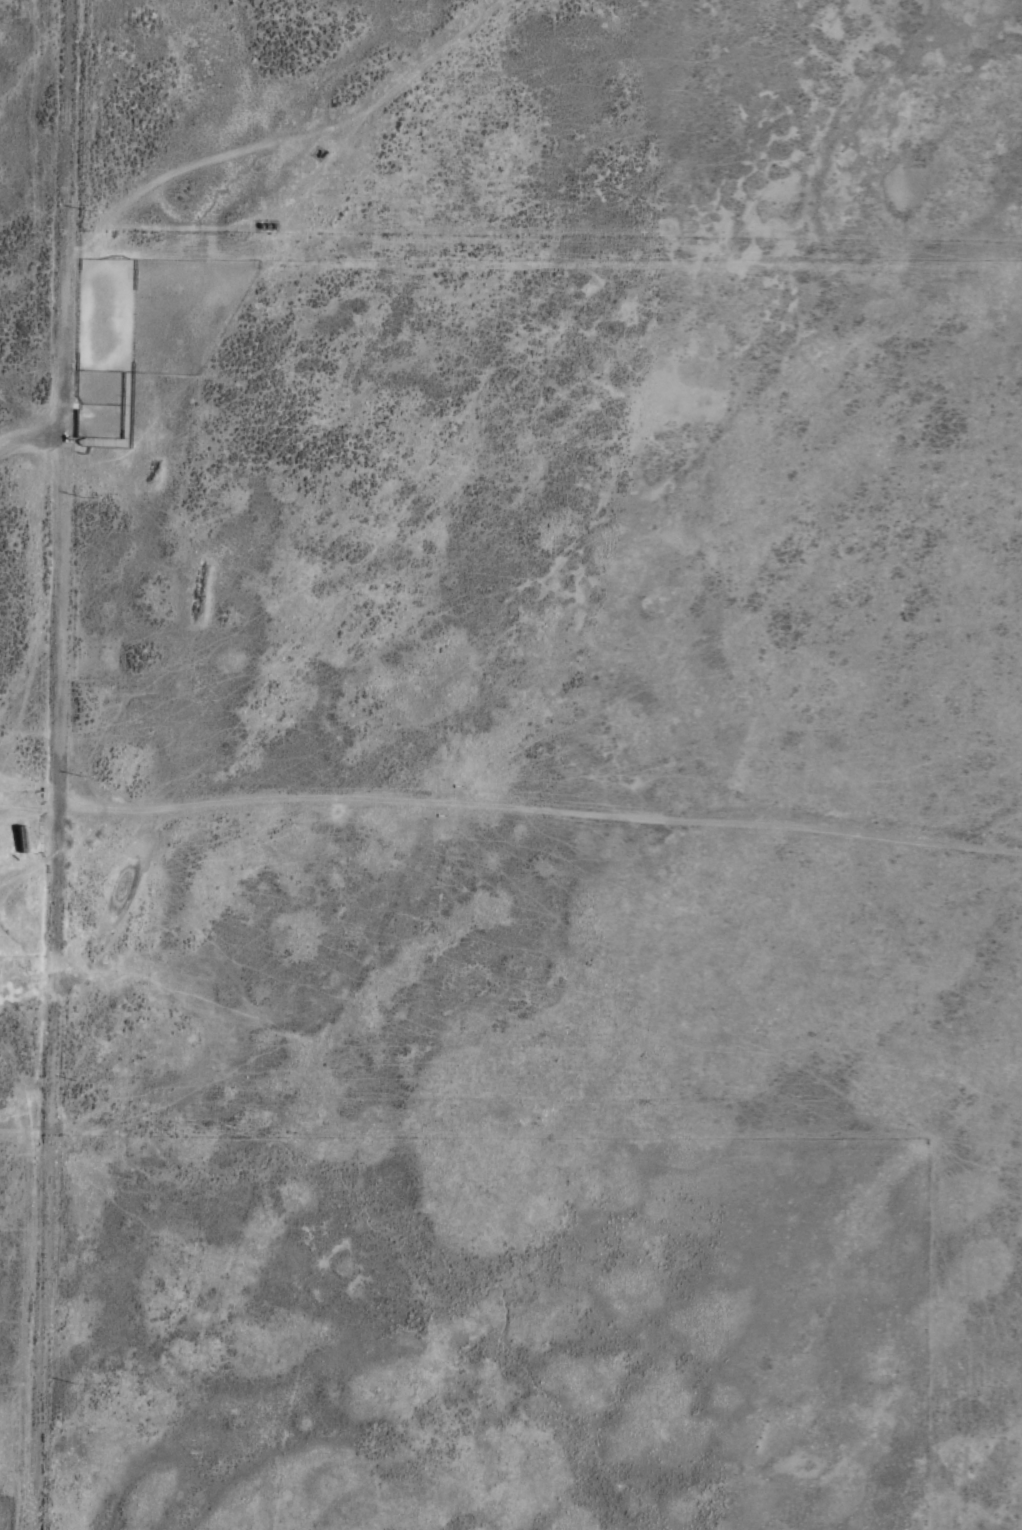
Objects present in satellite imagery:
road: (28, 433)
crop: (523, 607)
road: (537, 842)
road: (47, 988)

